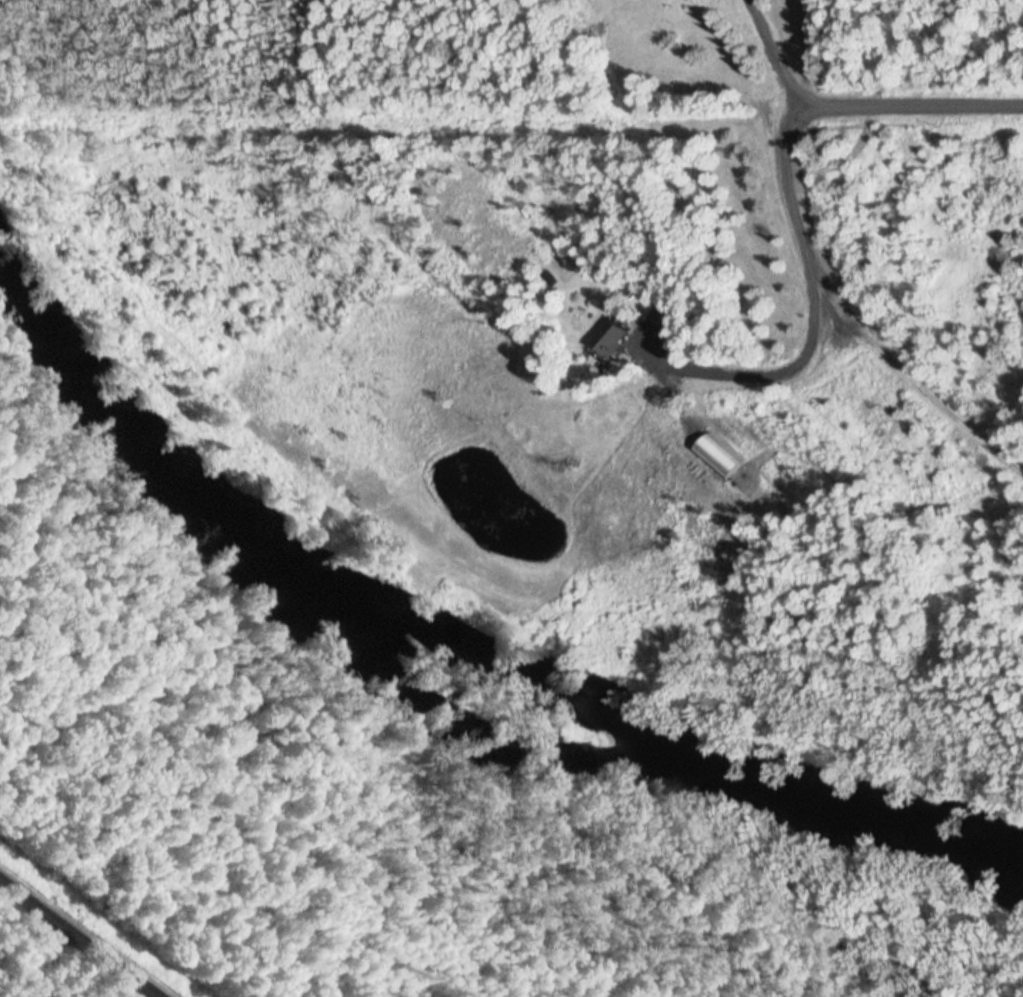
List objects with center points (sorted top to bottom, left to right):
road: (762, 107)
building: (661, 318)
building: (607, 339)
park: (445, 629)
river: (446, 729)
road: (80, 937)

